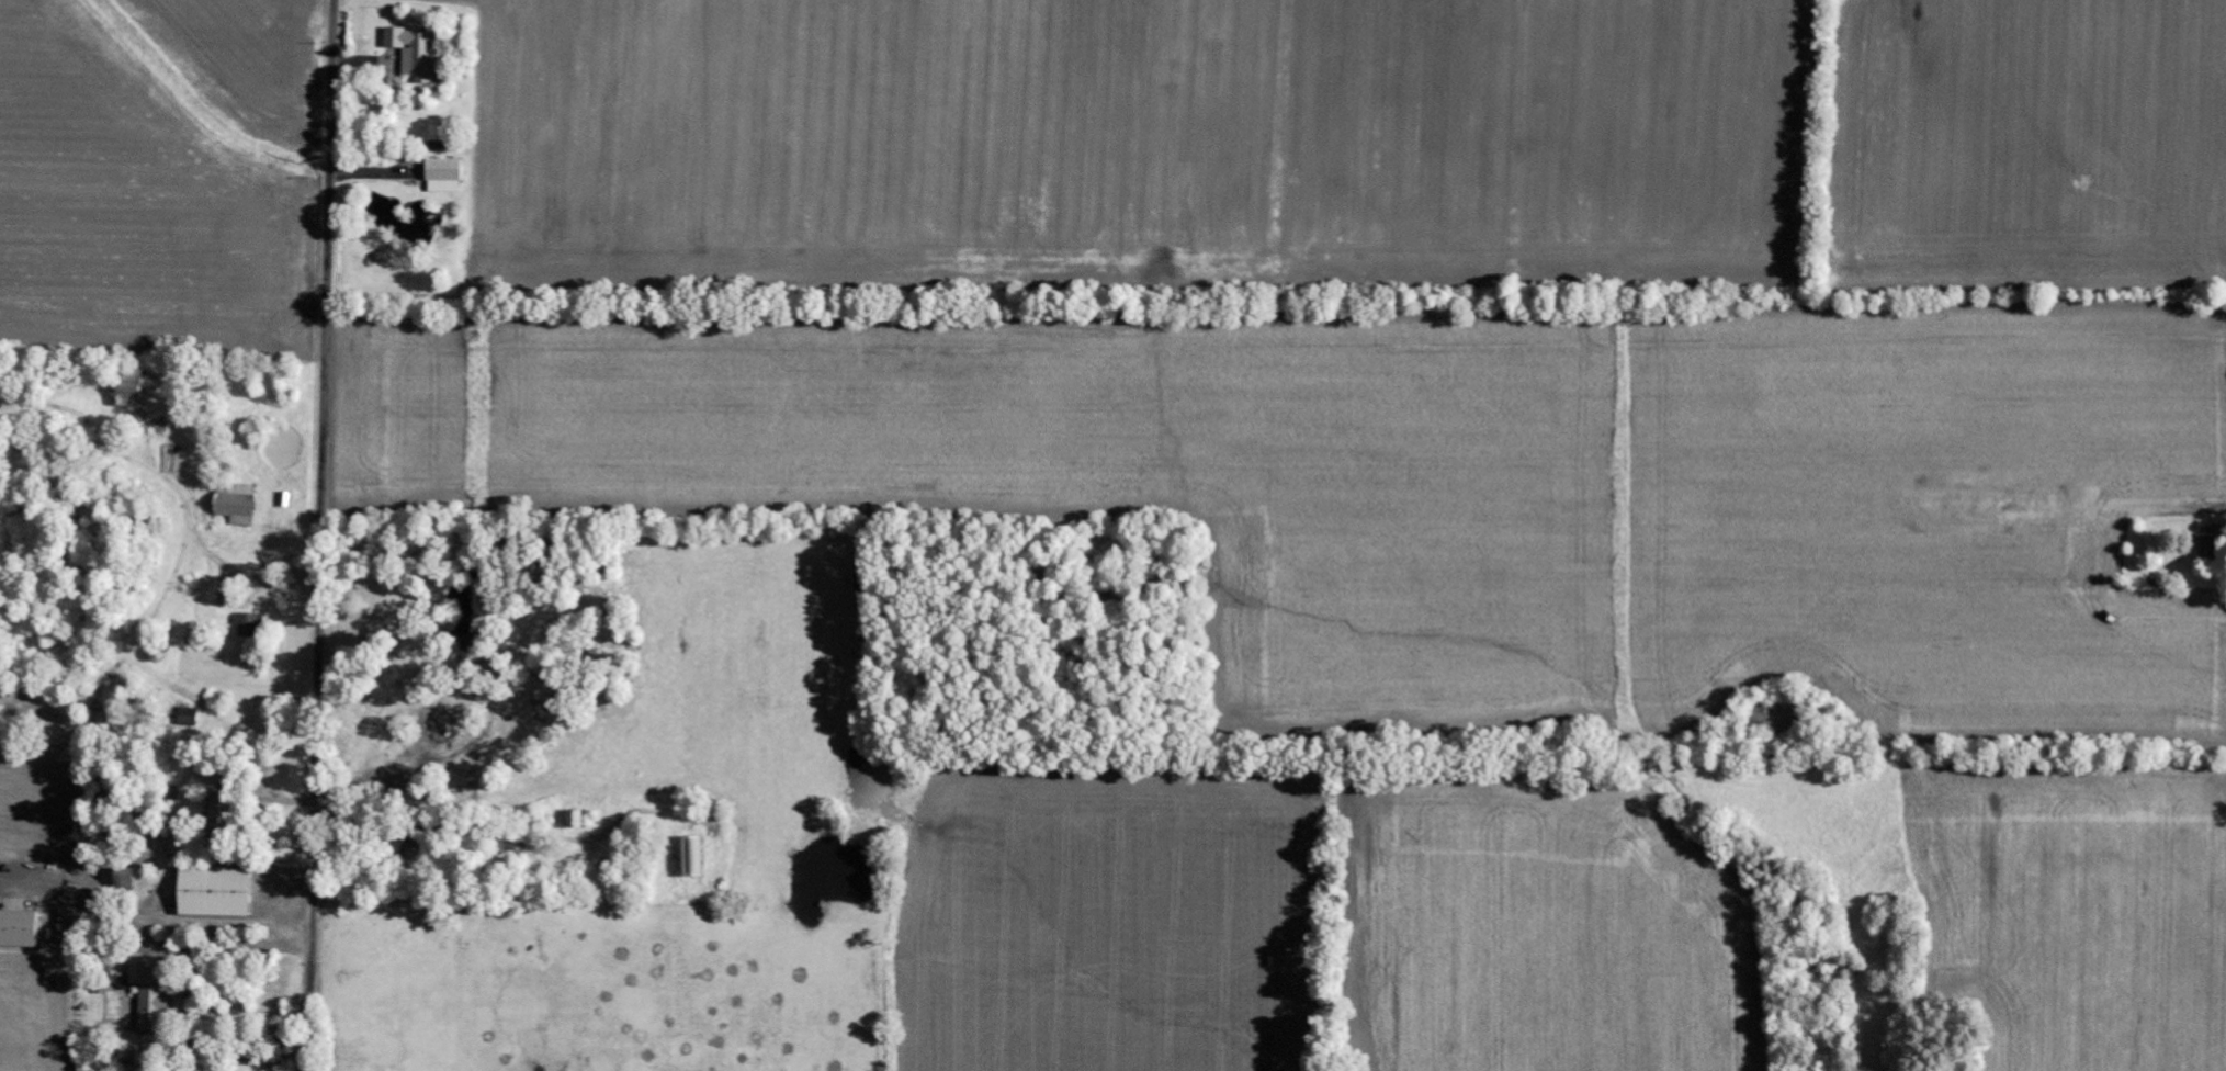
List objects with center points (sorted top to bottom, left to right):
building: (417, 54)
building: (445, 176)
building: (132, 388)
building: (237, 505)
road: (319, 534)
building: (2212, 546)
building: (250, 625)
building: (189, 718)
building: (221, 815)
building: (577, 820)
building: (693, 857)
building: (126, 880)
building: (215, 892)
building: (19, 929)
building: (151, 997)

